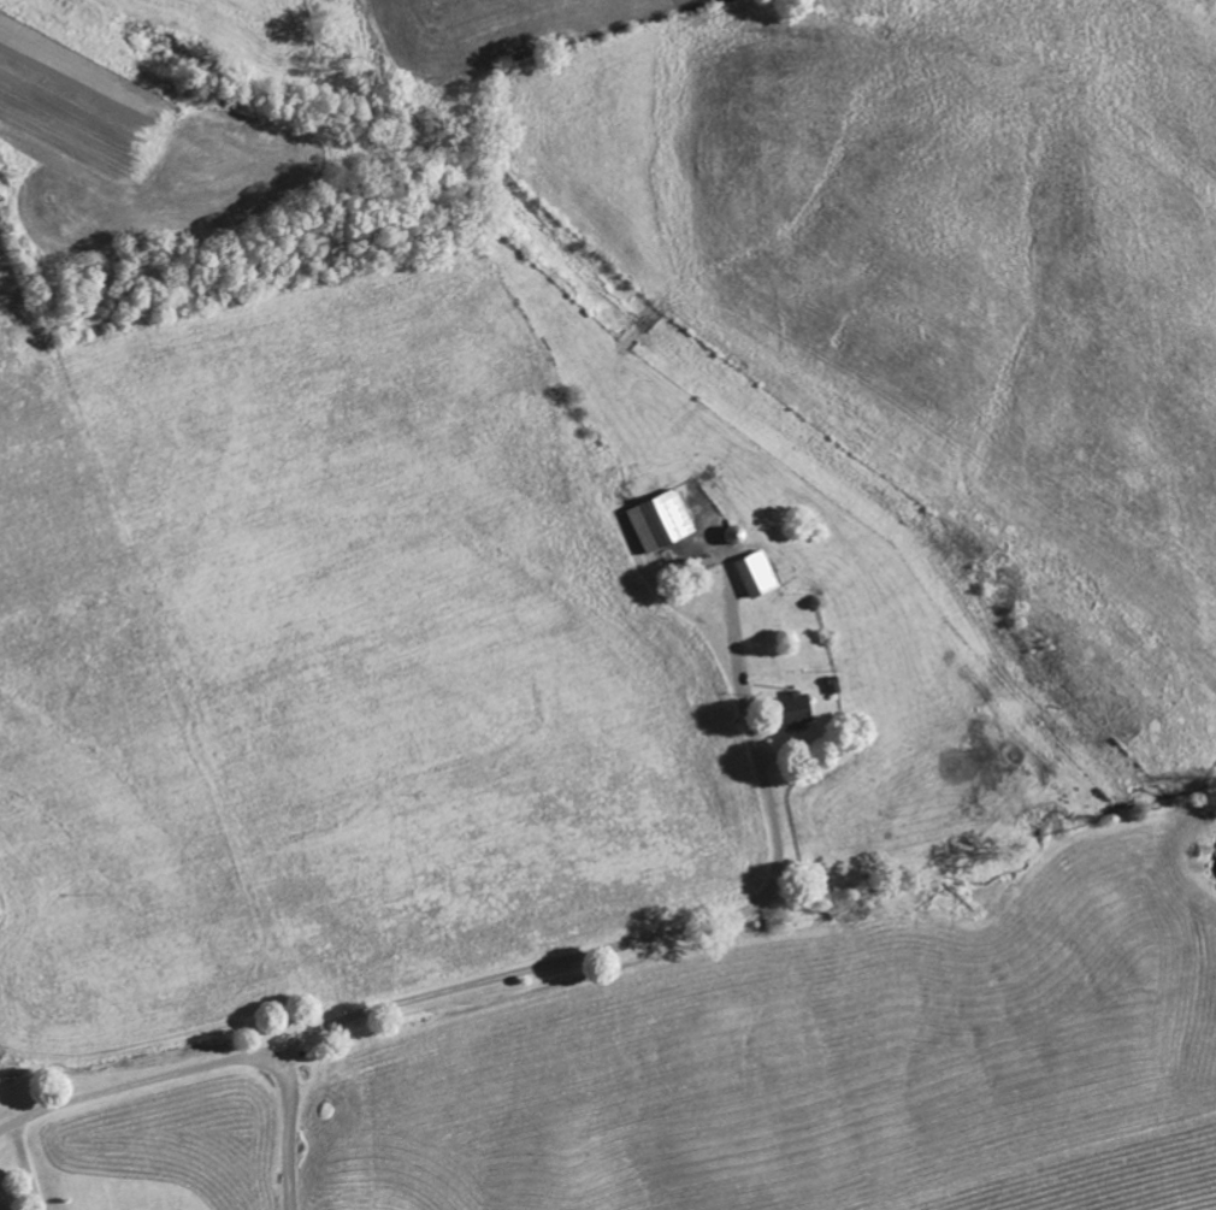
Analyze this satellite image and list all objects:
building: (663, 521)
building: (757, 574)
building: (799, 709)
road: (477, 979)

